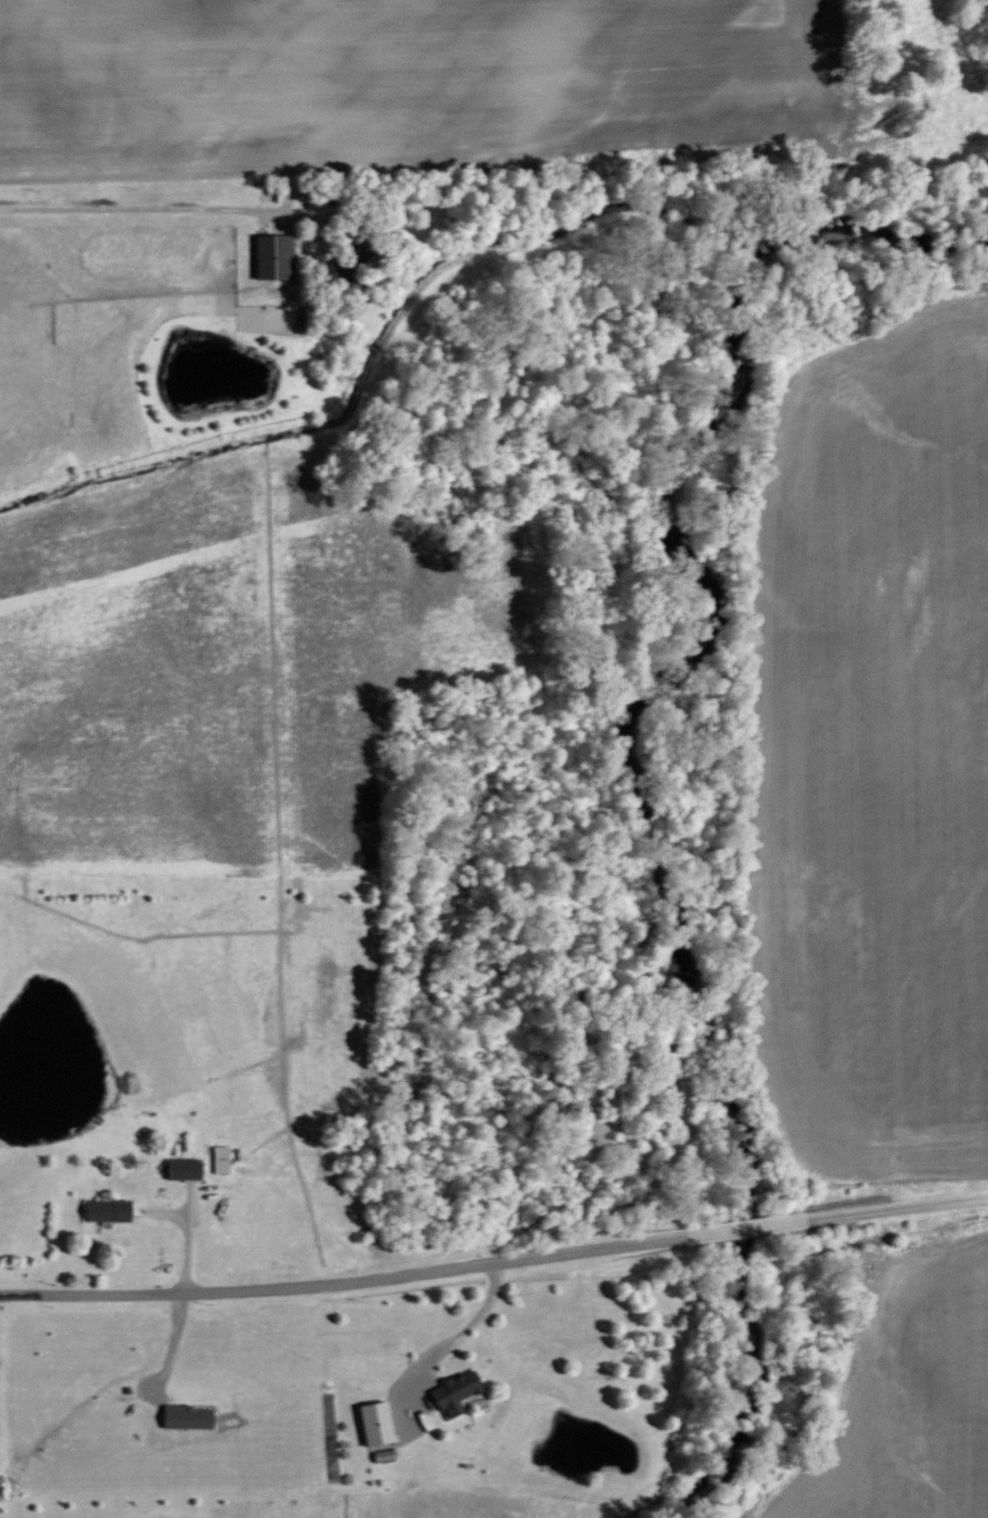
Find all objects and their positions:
road: (145, 207)
building: (276, 256)
building: (352, 266)
building: (223, 1159)
building: (186, 1168)
building: (110, 1209)
building: (793, 1220)
road: (495, 1262)
road: (457, 1334)
building: (457, 1391)
building: (386, 1454)

